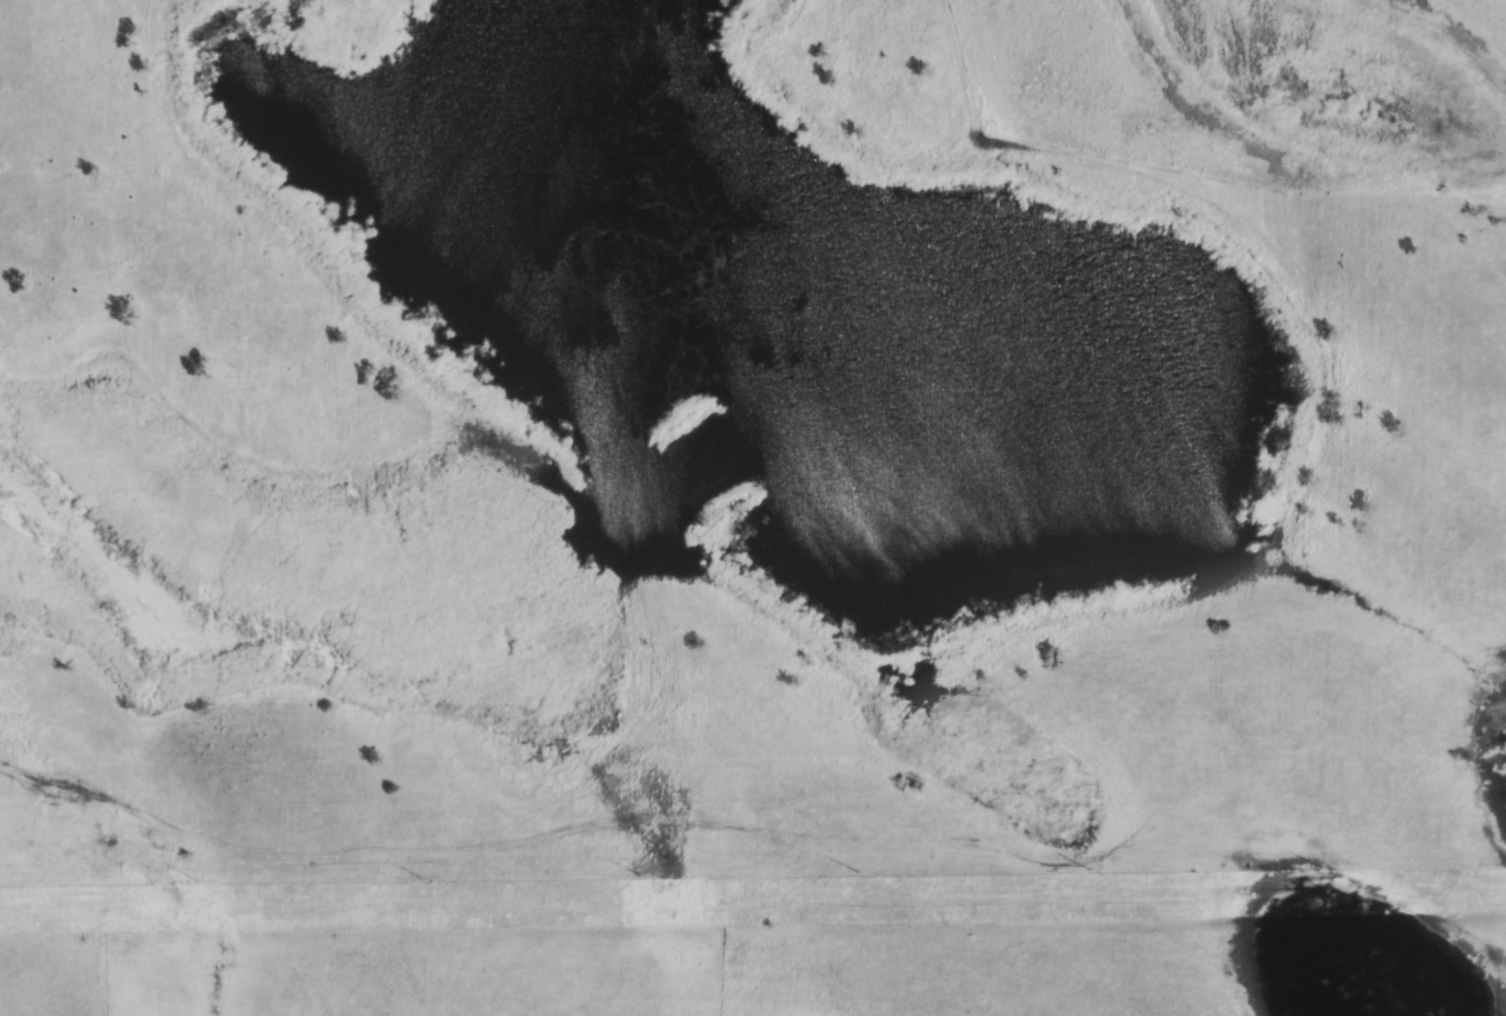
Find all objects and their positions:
road: (753, 898)

